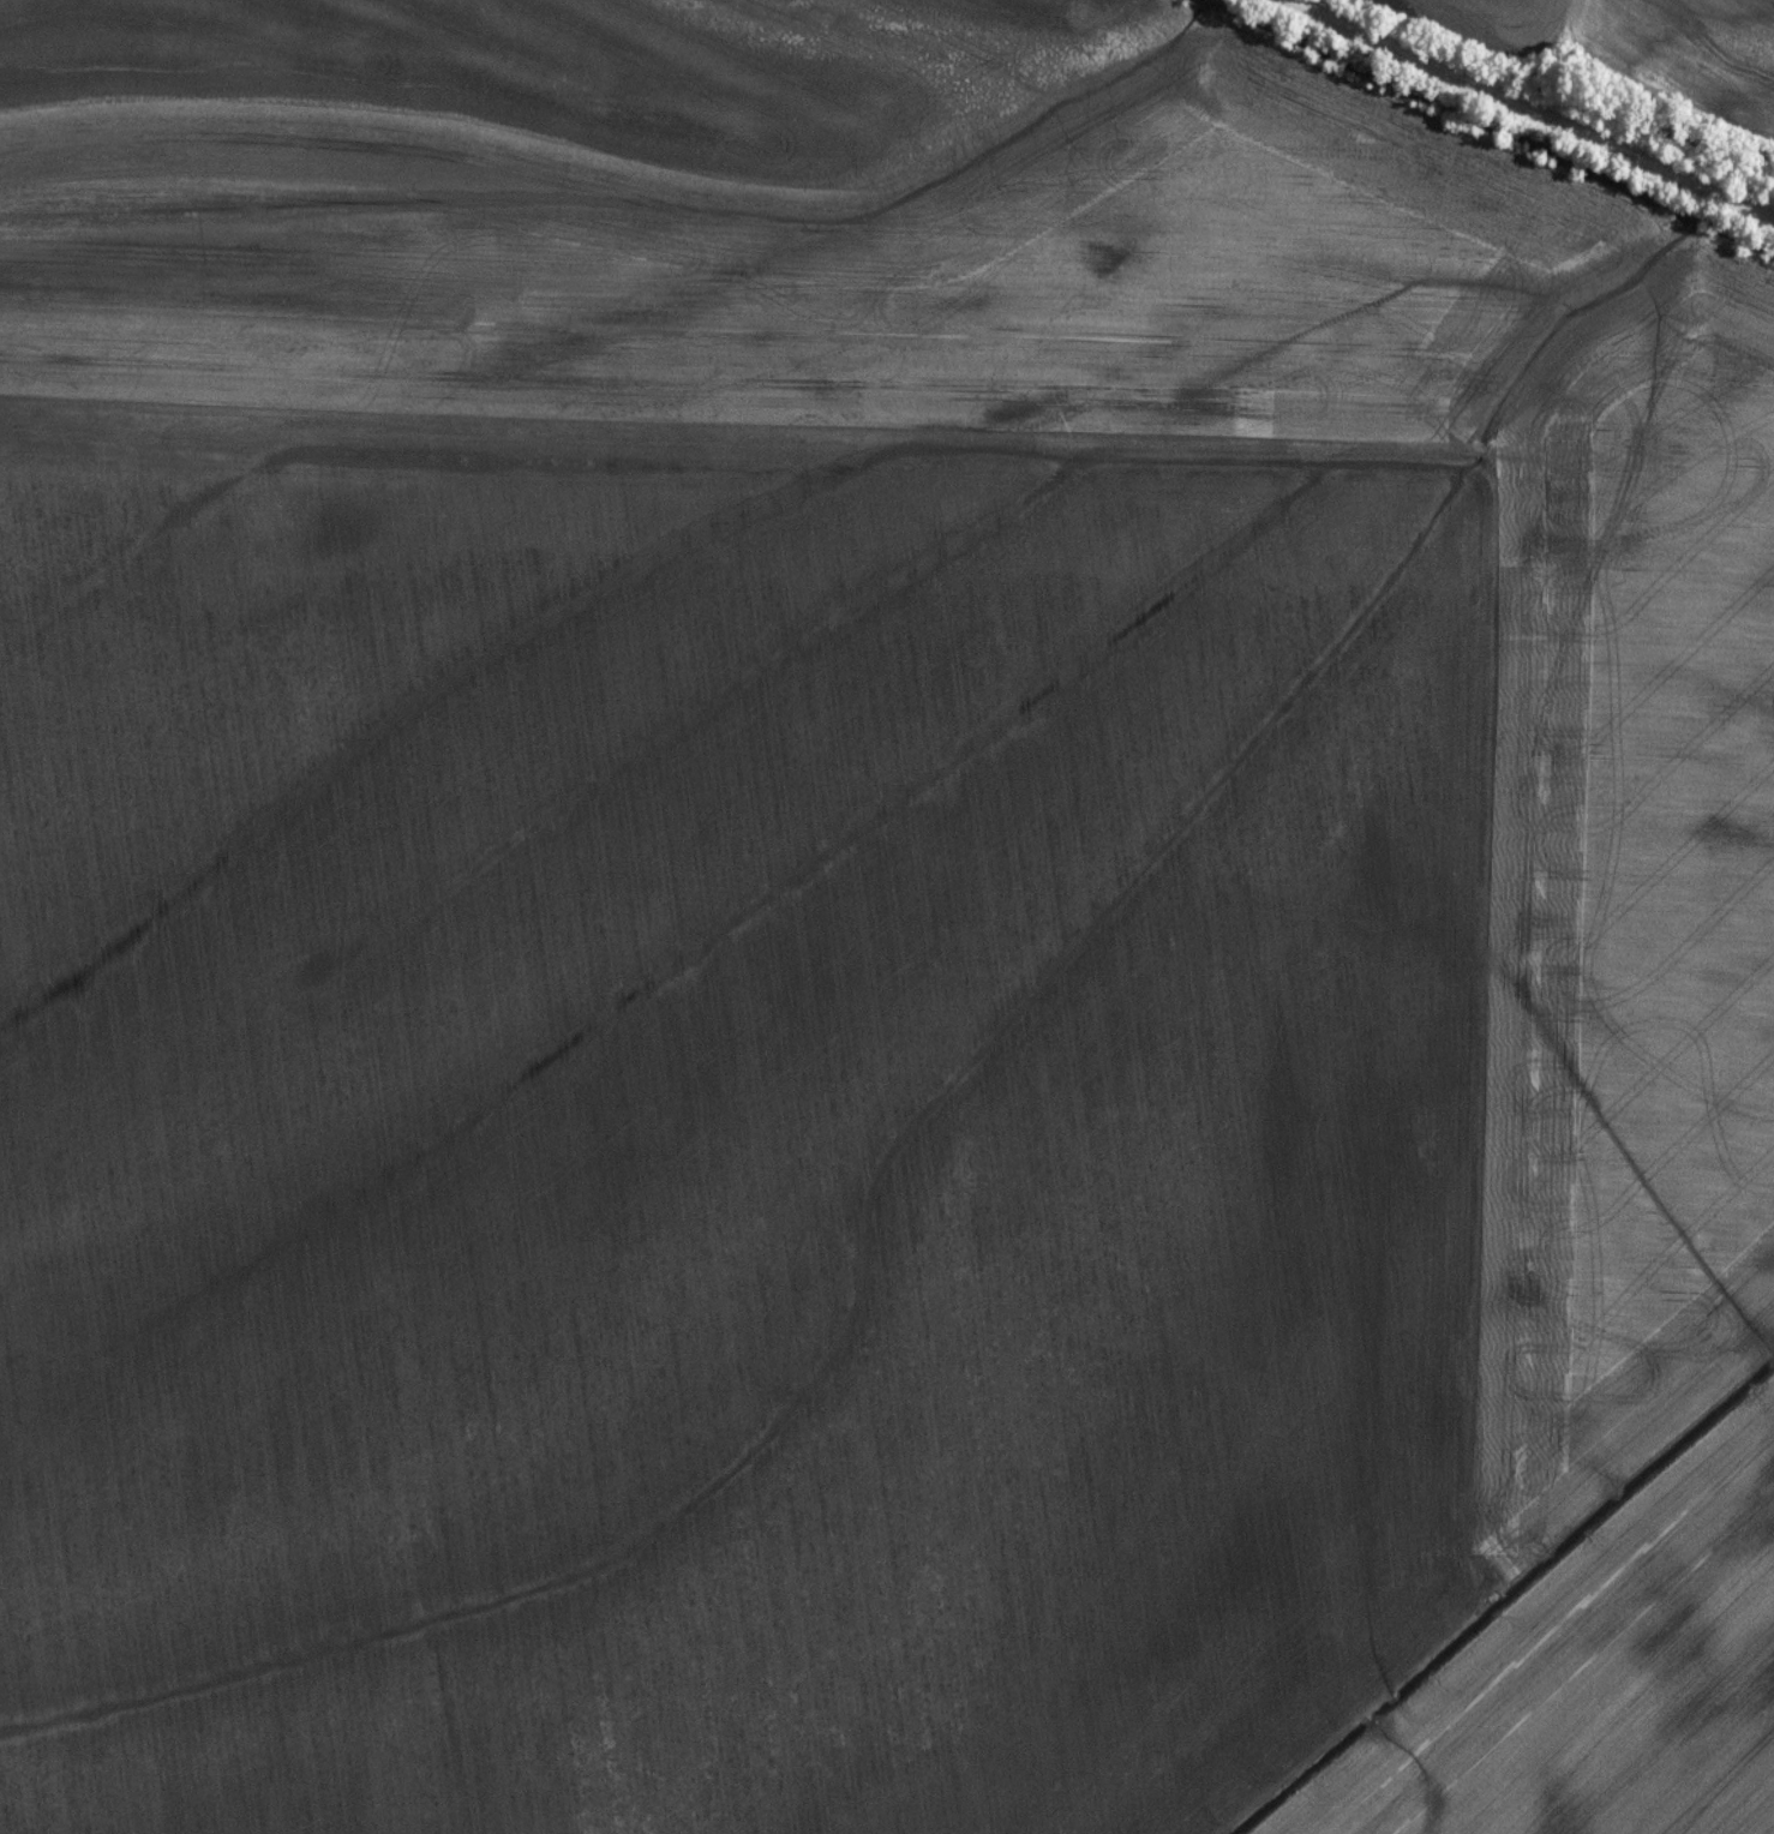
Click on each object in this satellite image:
road: (1528, 109)

